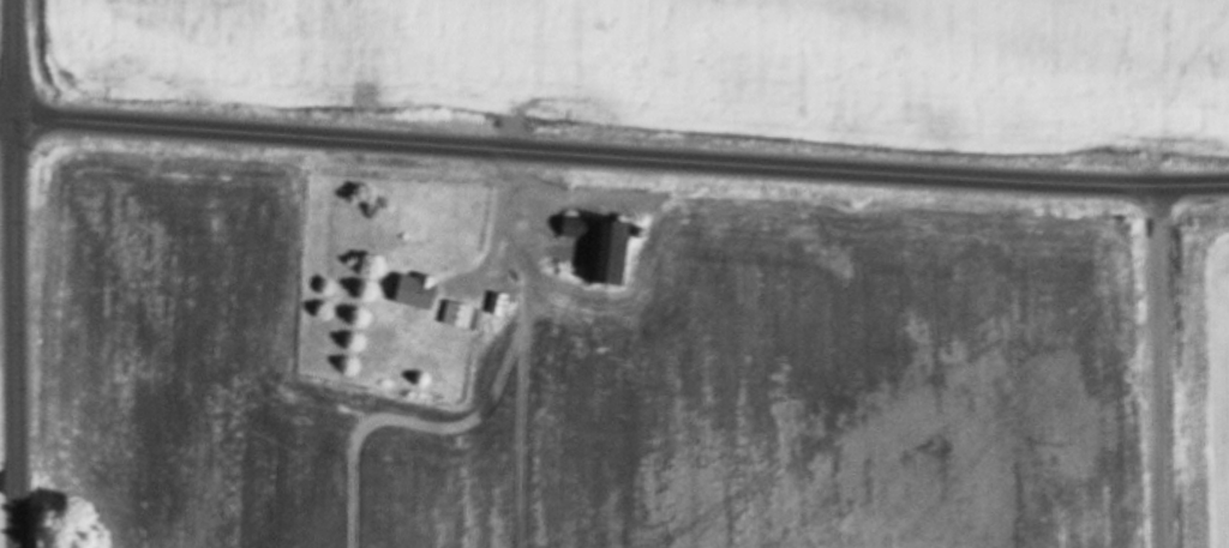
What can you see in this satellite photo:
road: (7, 114)
road: (622, 153)
building: (598, 247)
road: (16, 273)
building: (412, 289)
building: (494, 303)
building: (458, 315)
road: (1159, 367)

